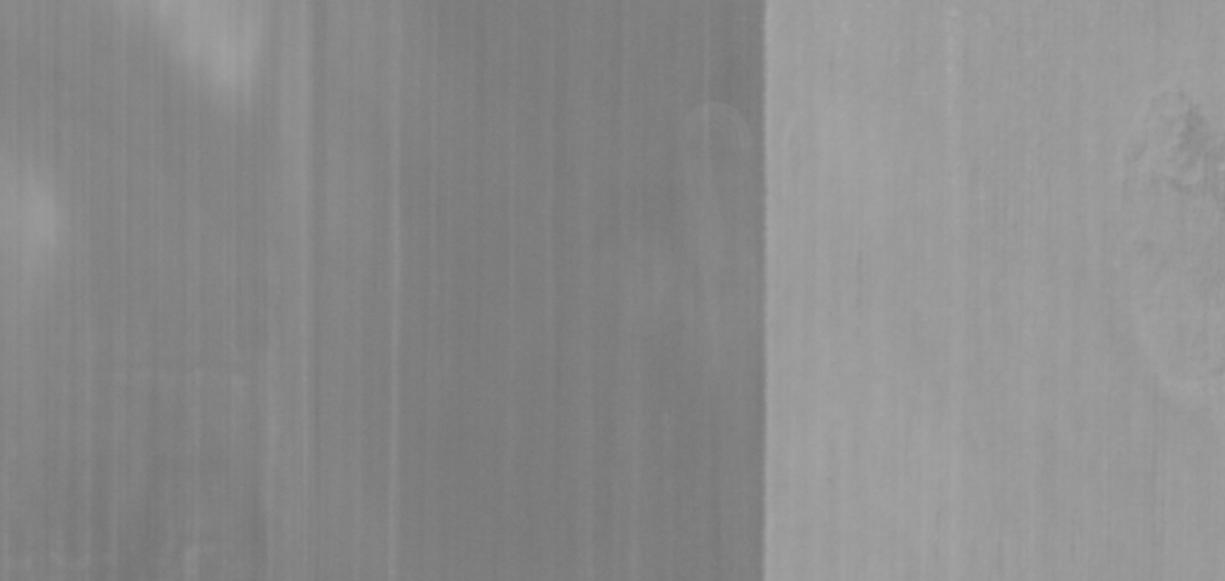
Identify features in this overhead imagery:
crop: (612, 290)

